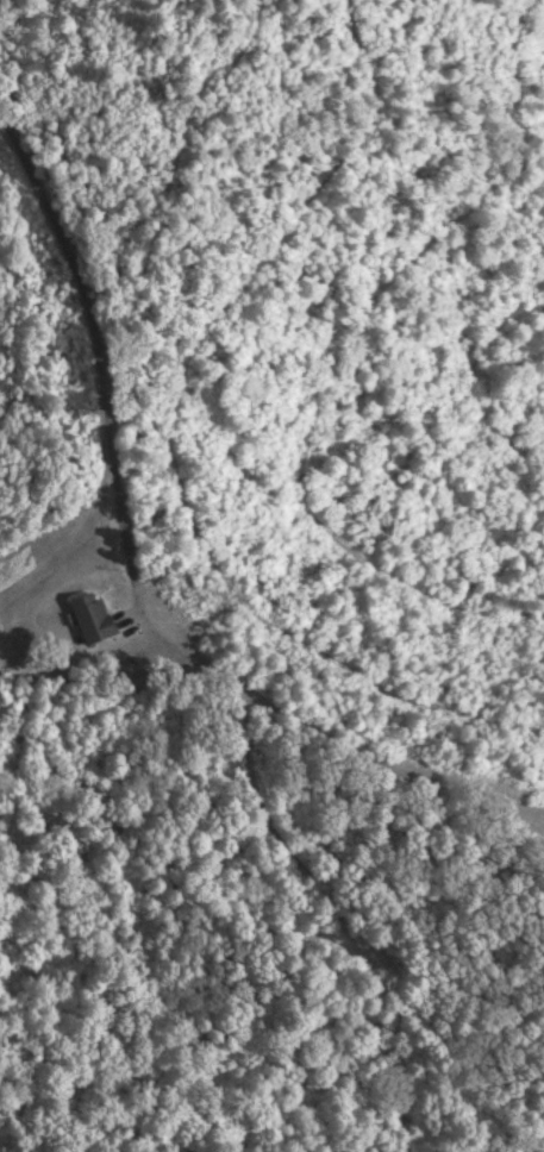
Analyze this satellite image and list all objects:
road: (133, 580)
building: (94, 619)

